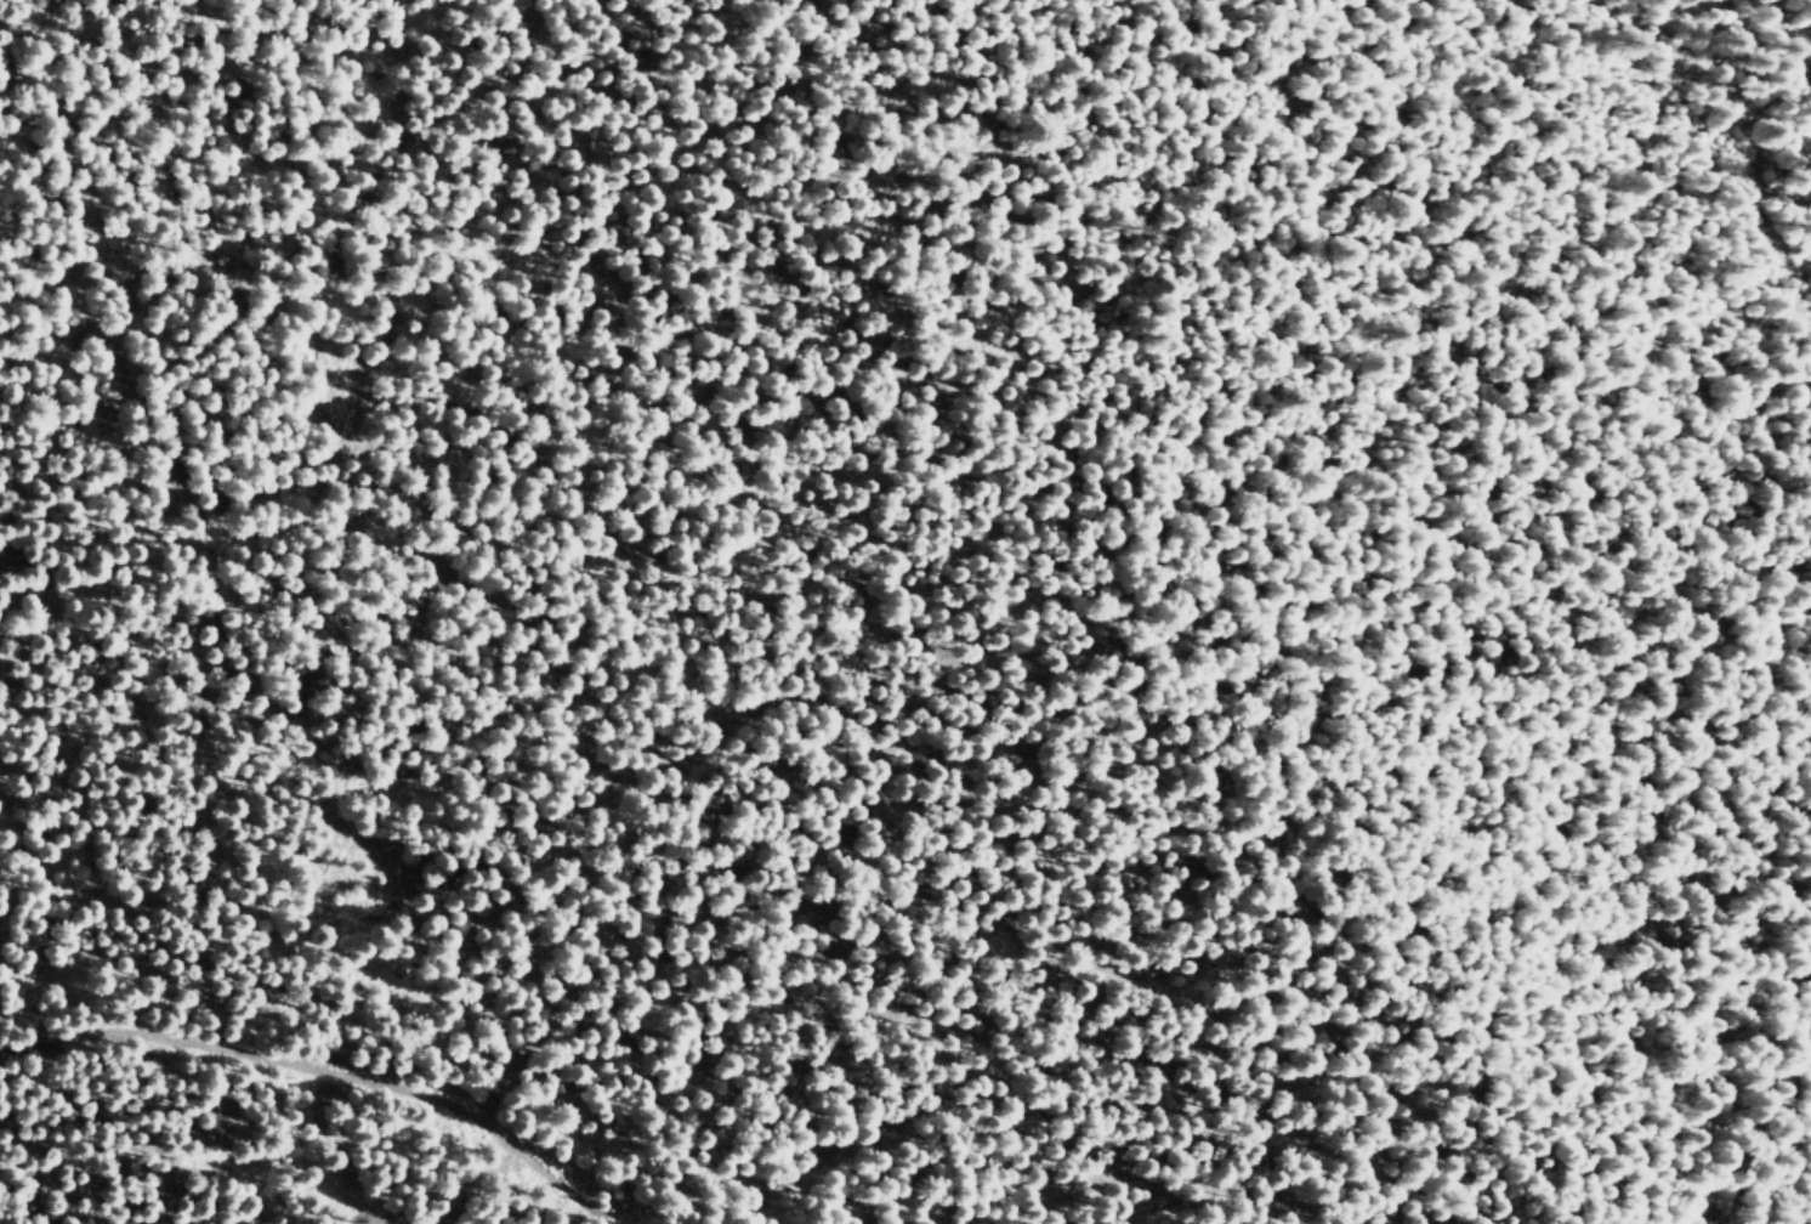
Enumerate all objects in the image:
road: (375, 940)

